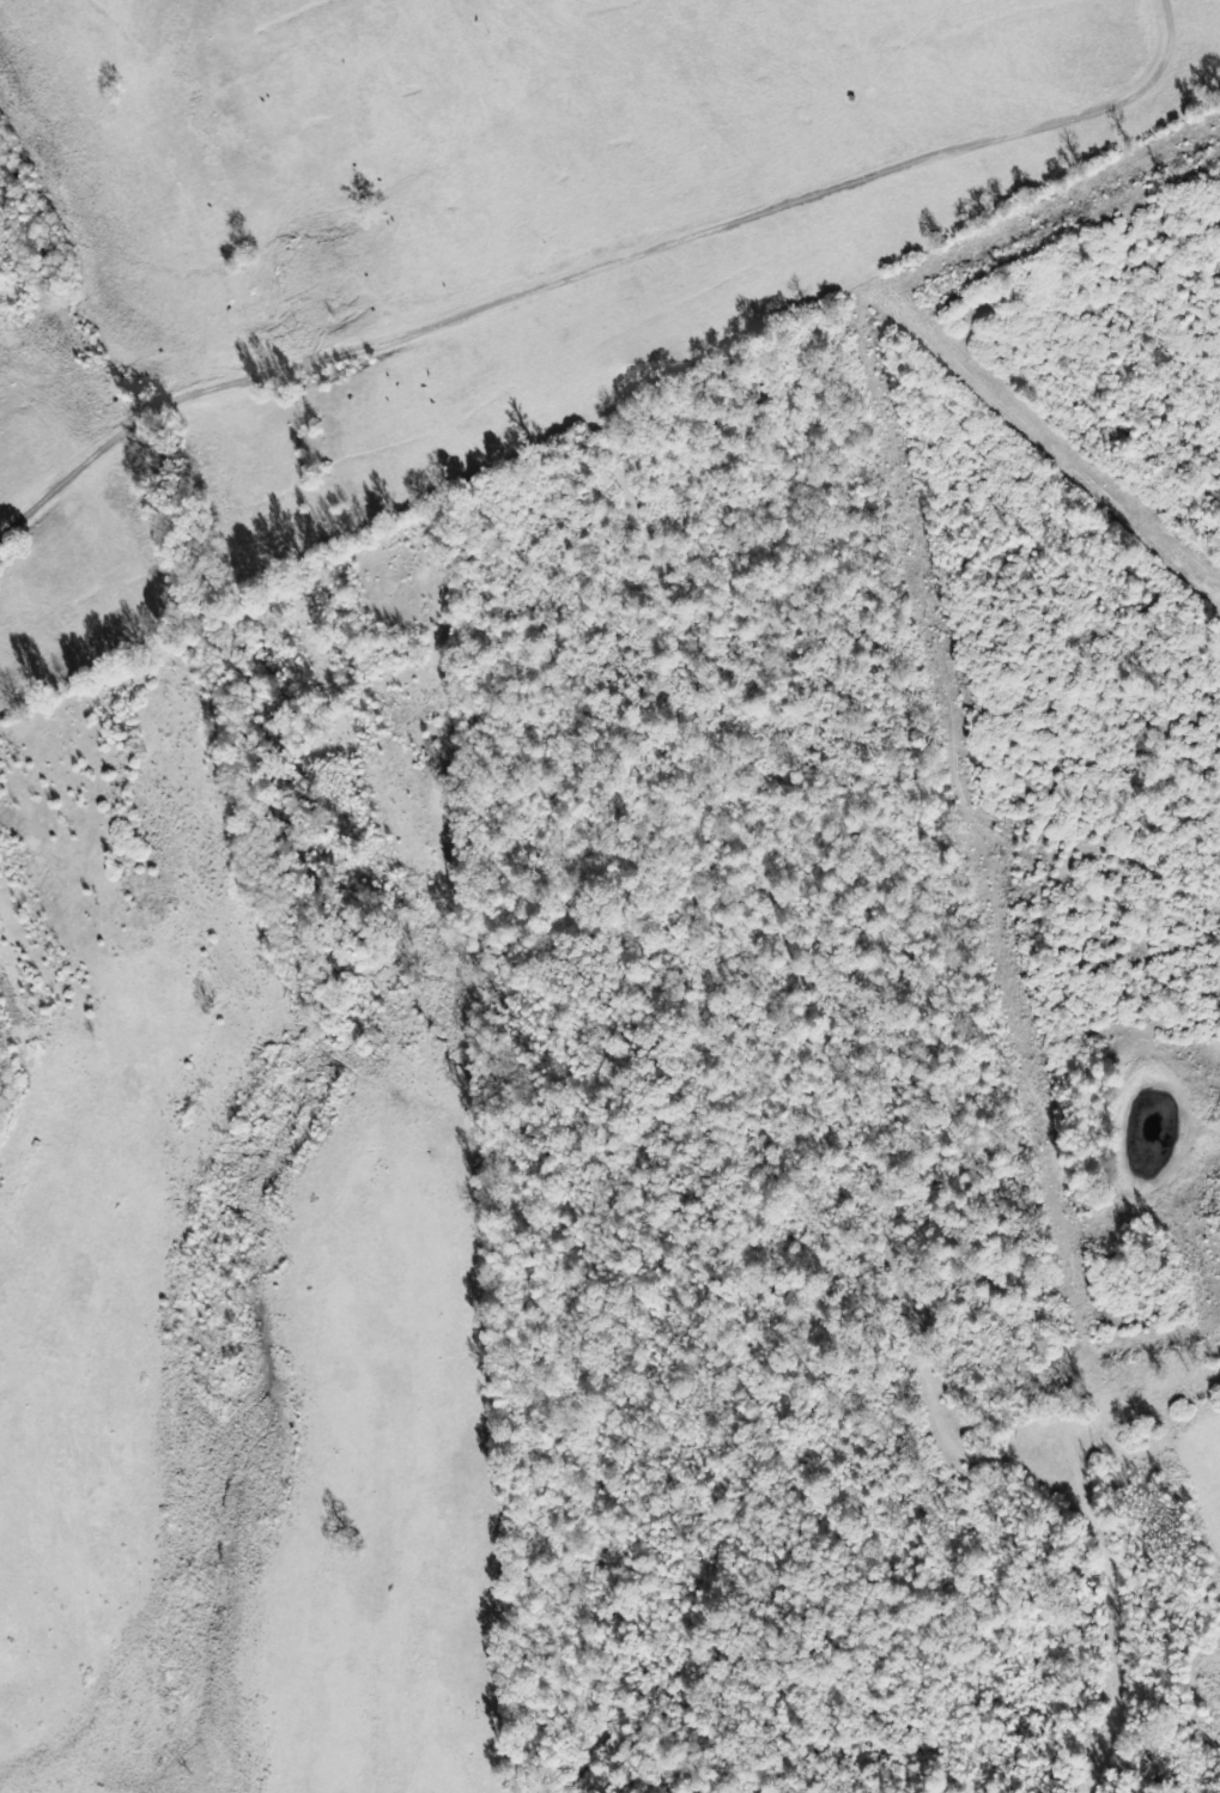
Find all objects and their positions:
road: (599, 264)
road: (535, 1791)

